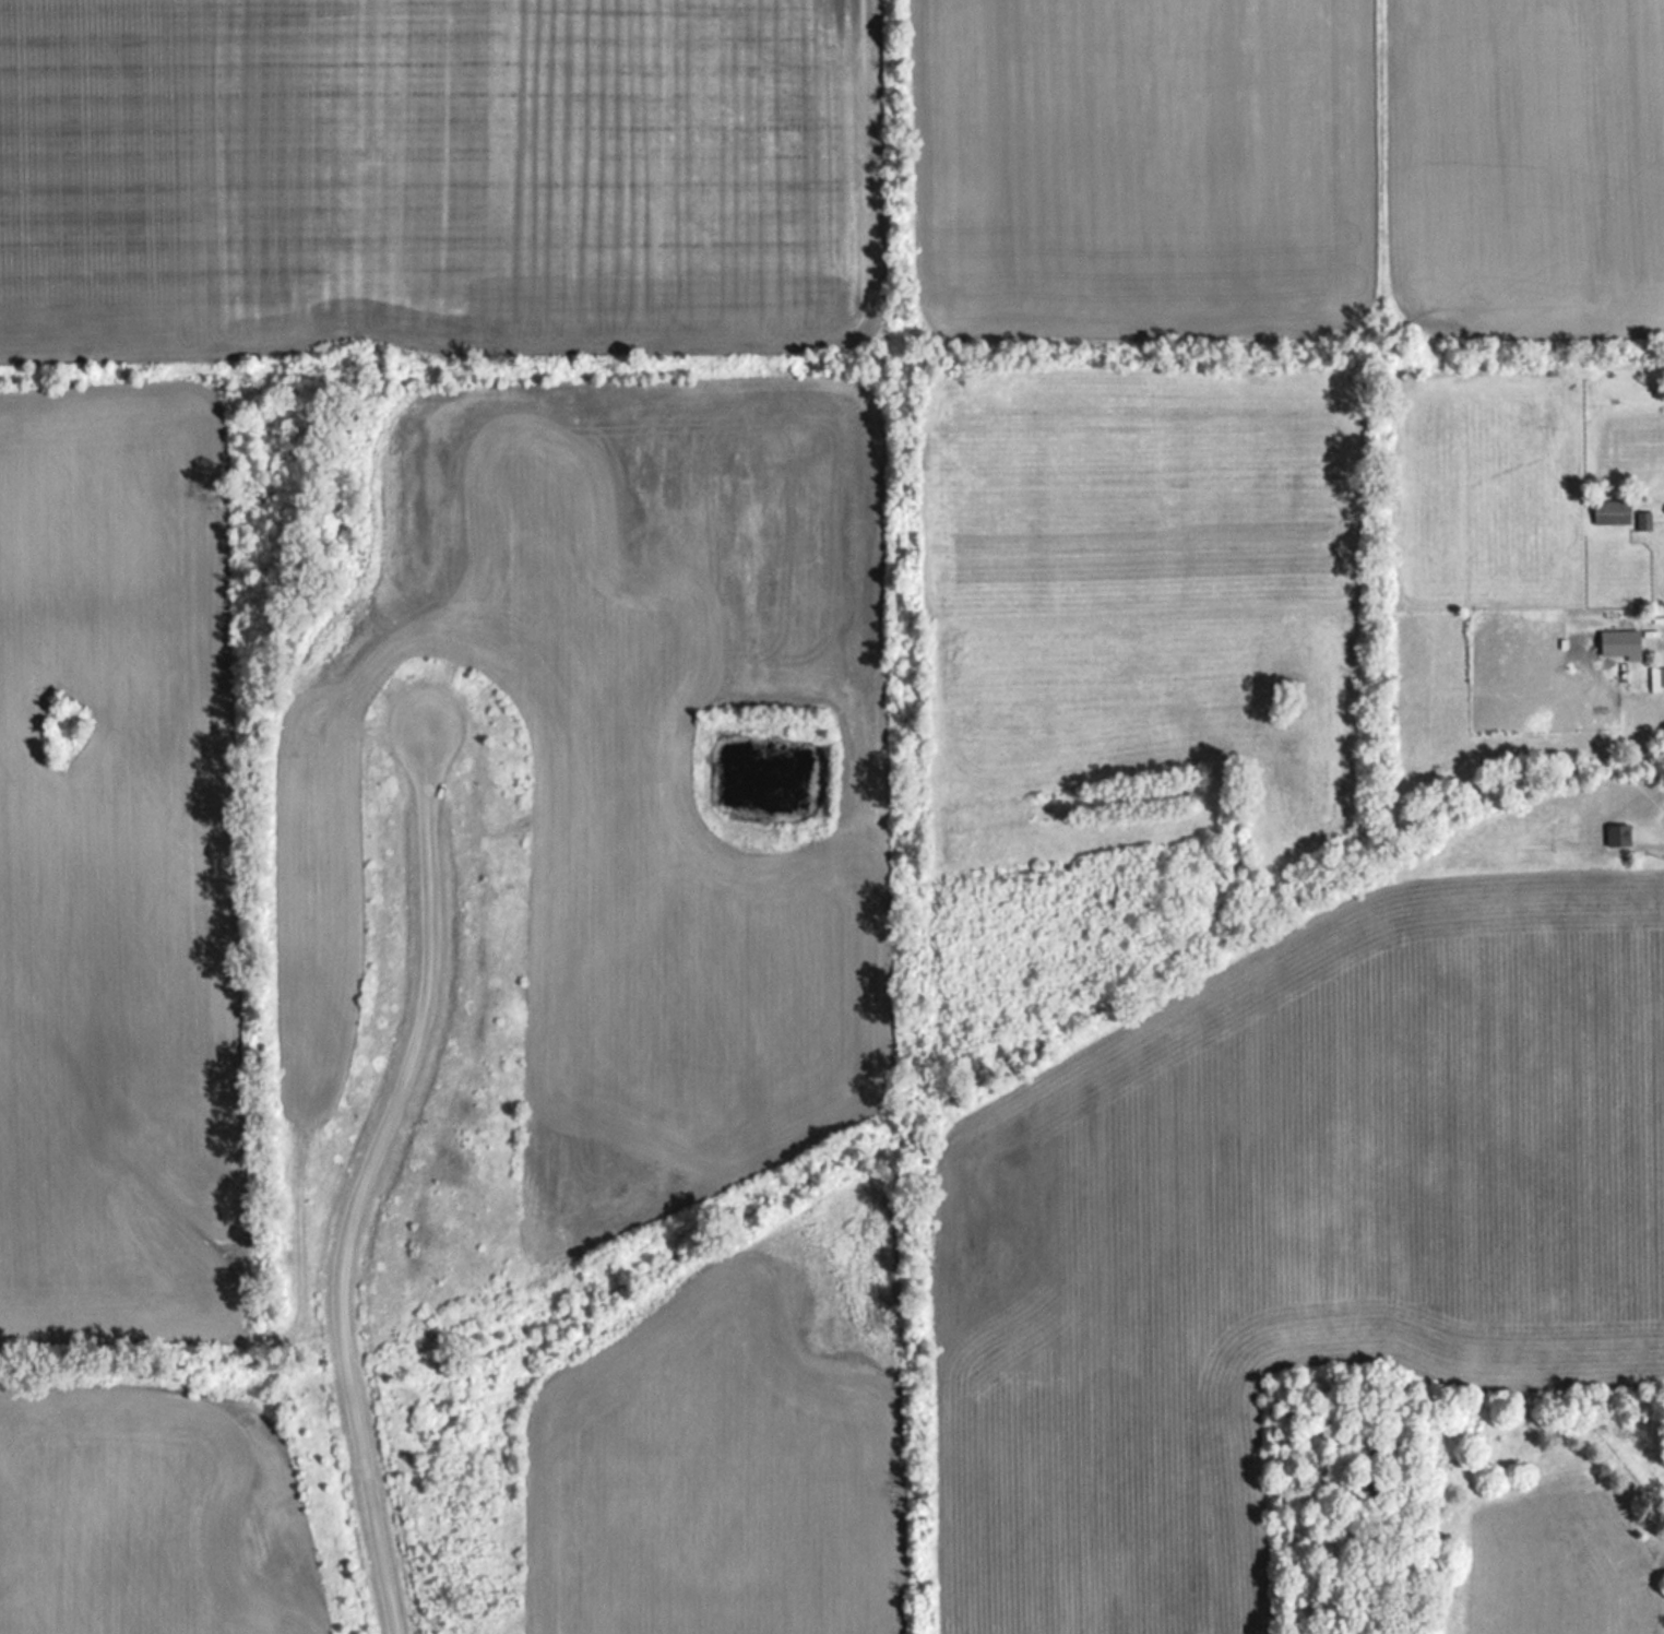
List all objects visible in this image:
building: (1614, 511)
building: (1623, 642)
road: (366, 1176)

